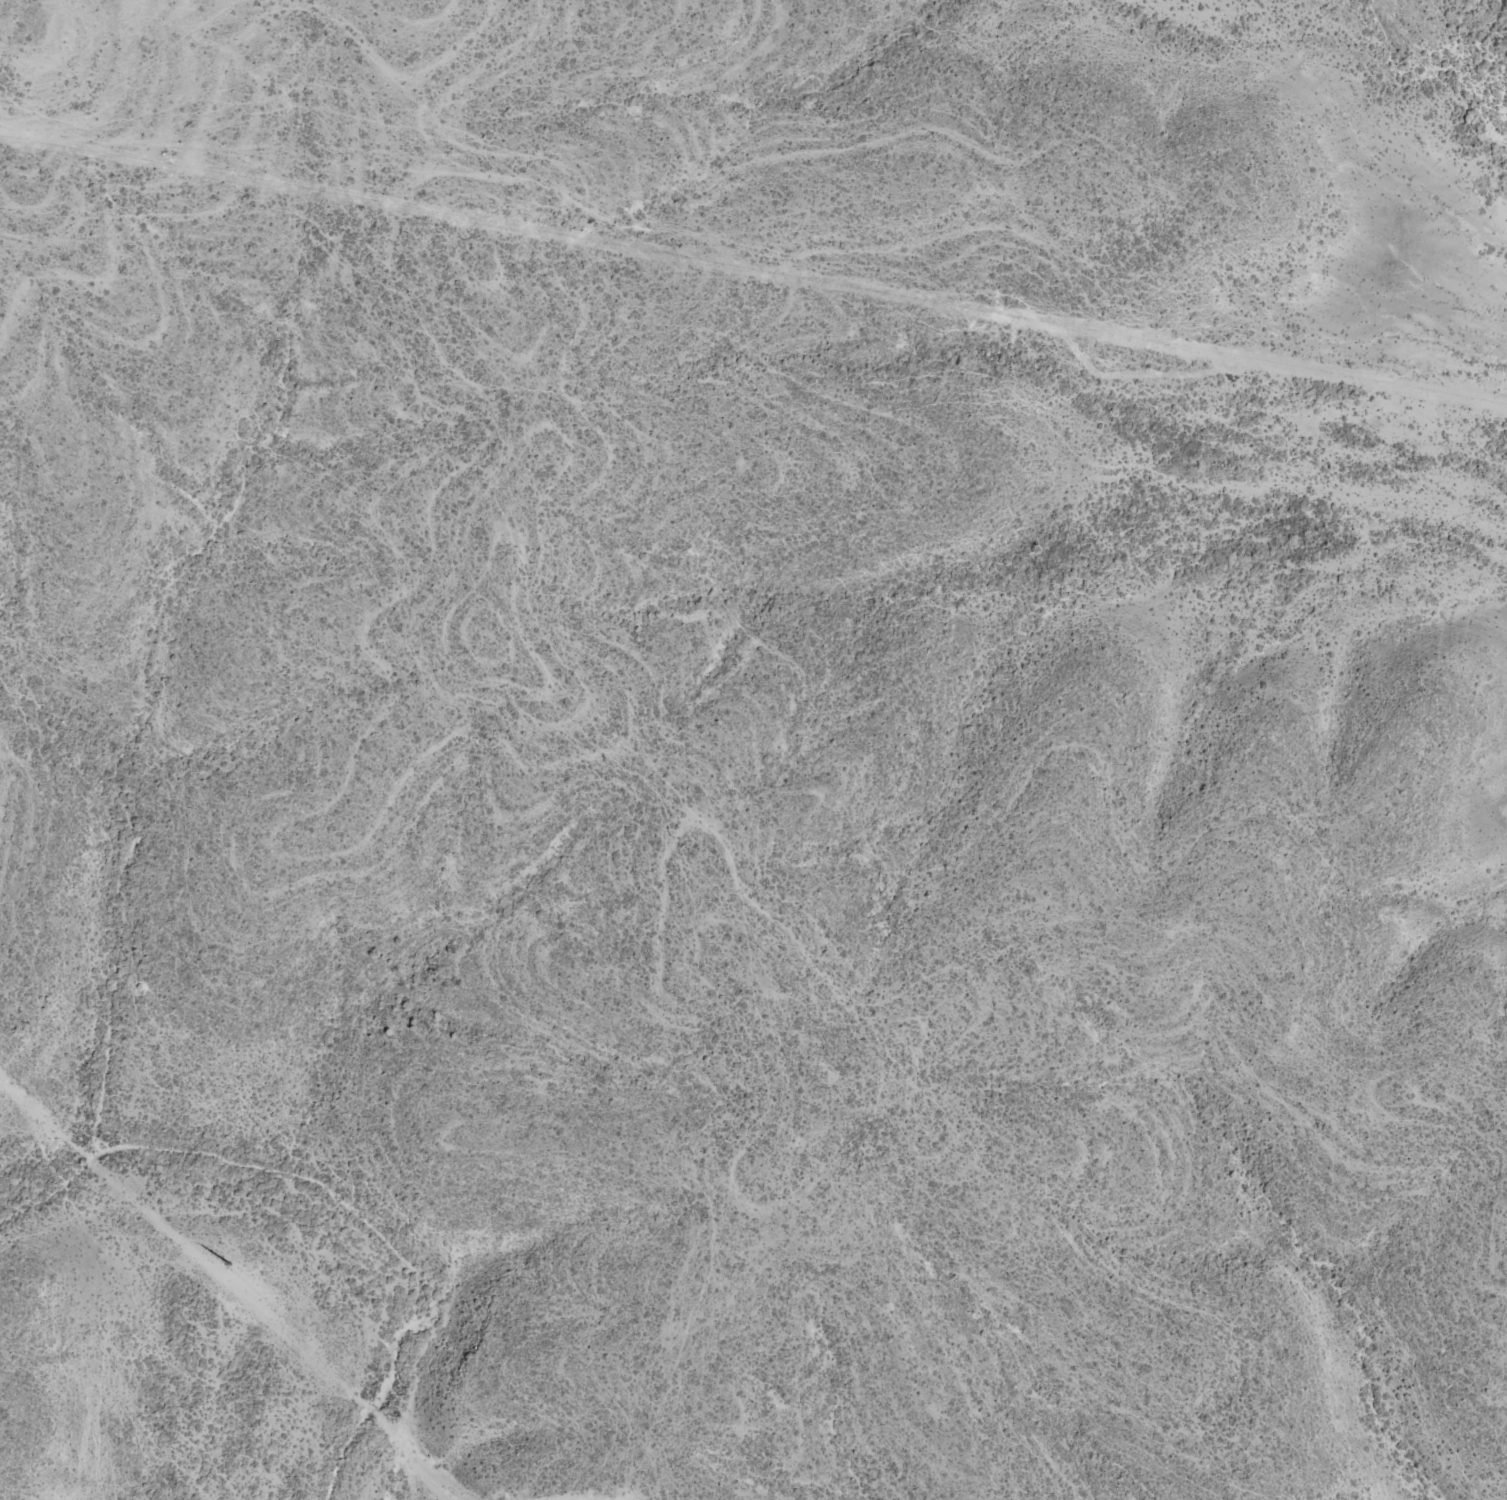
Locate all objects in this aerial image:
power tower: (226, 1263)

